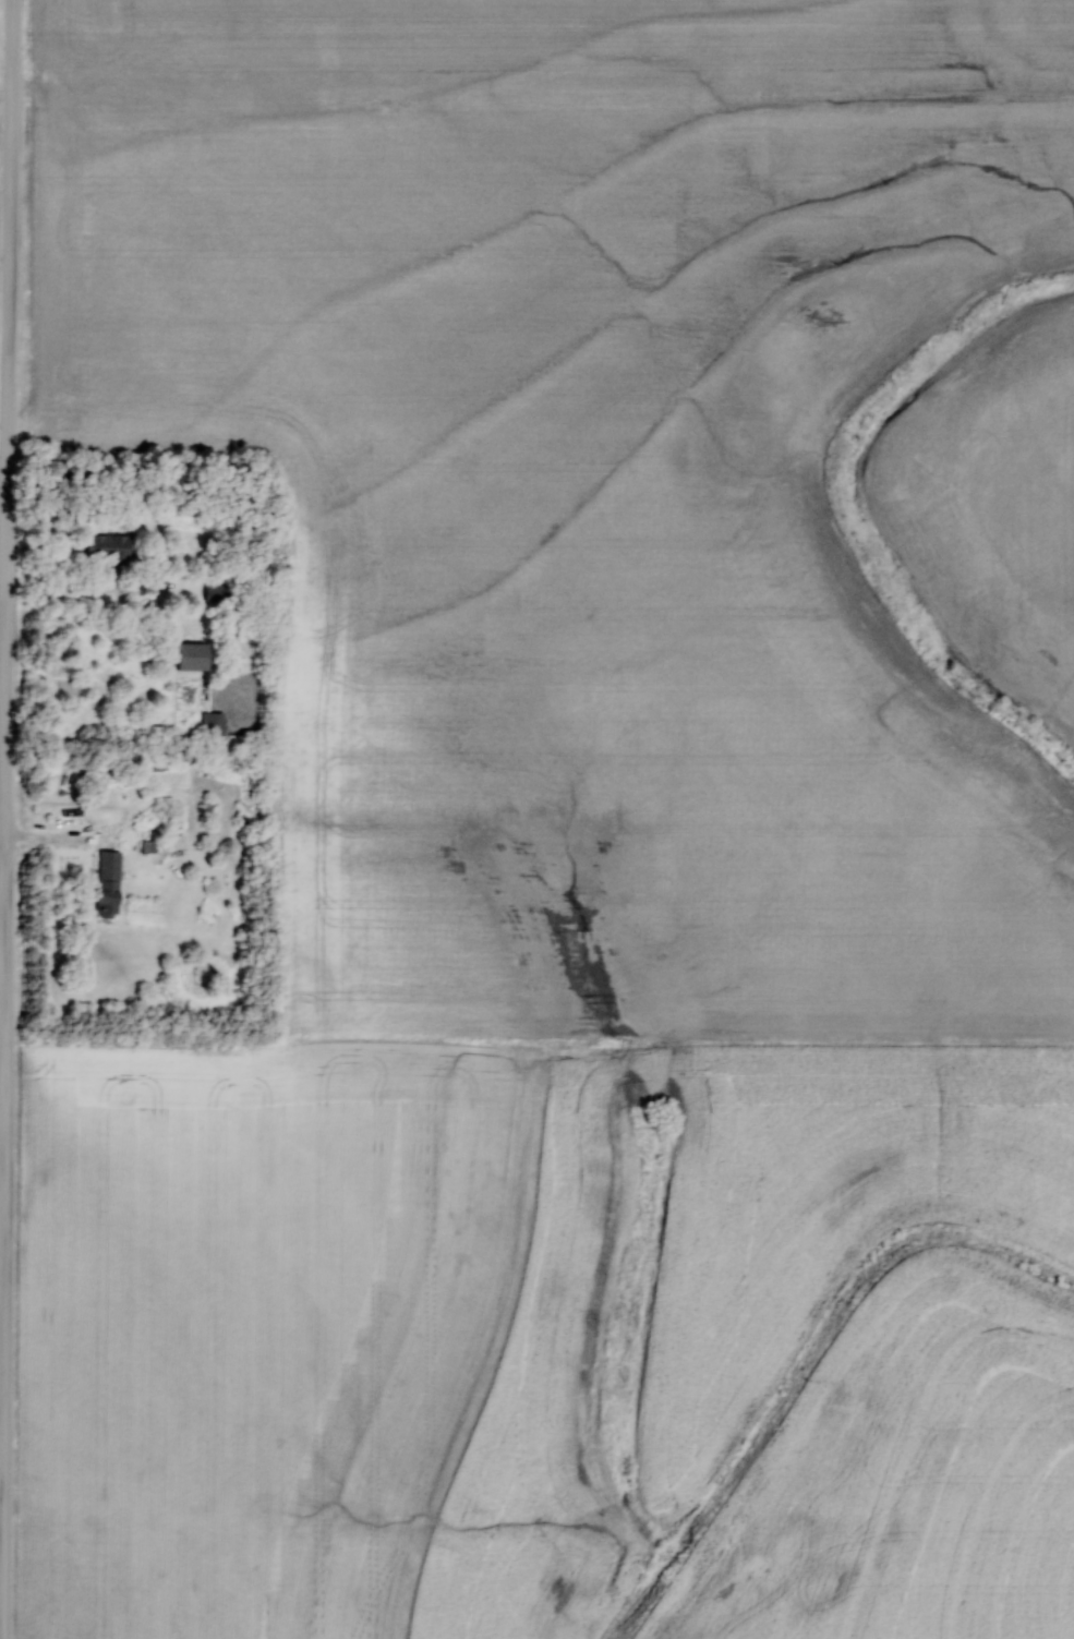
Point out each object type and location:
building: (106, 544)
building: (217, 590)
road: (102, 593)
building: (191, 654)
building: (212, 722)
building: (153, 762)
road: (9, 819)
building: (107, 883)
road: (3, 1484)

